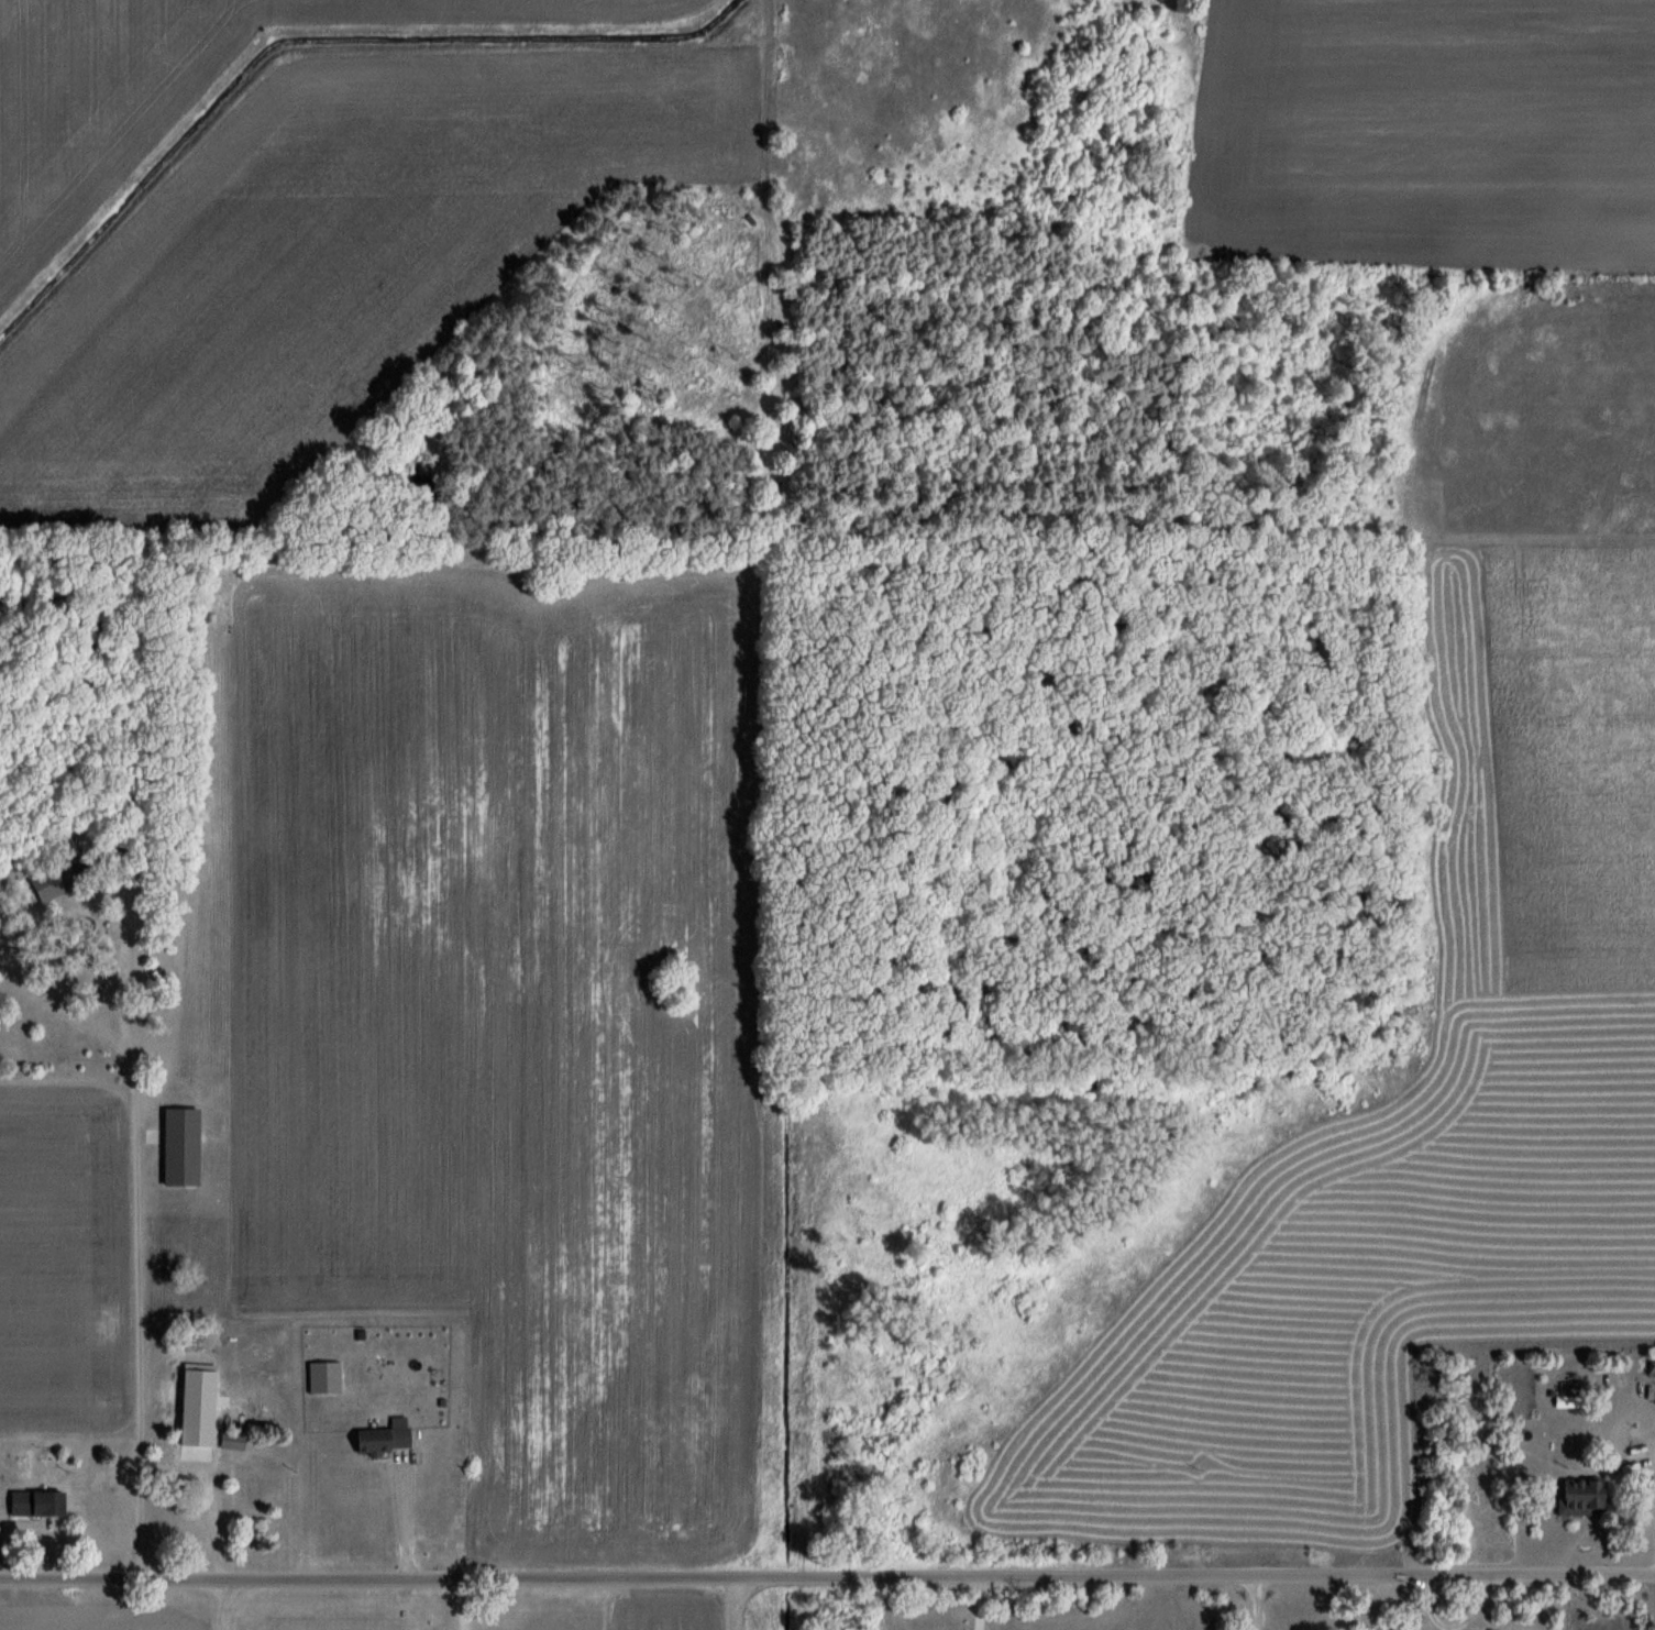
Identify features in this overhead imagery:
building: (179, 1148)
building: (1650, 1366)
building: (379, 1440)
building: (232, 1441)
building: (1579, 1497)
building: (34, 1505)
road: (405, 1516)
building: (176, 1523)
road: (827, 1577)
road: (982, 1603)
road: (462, 1604)

